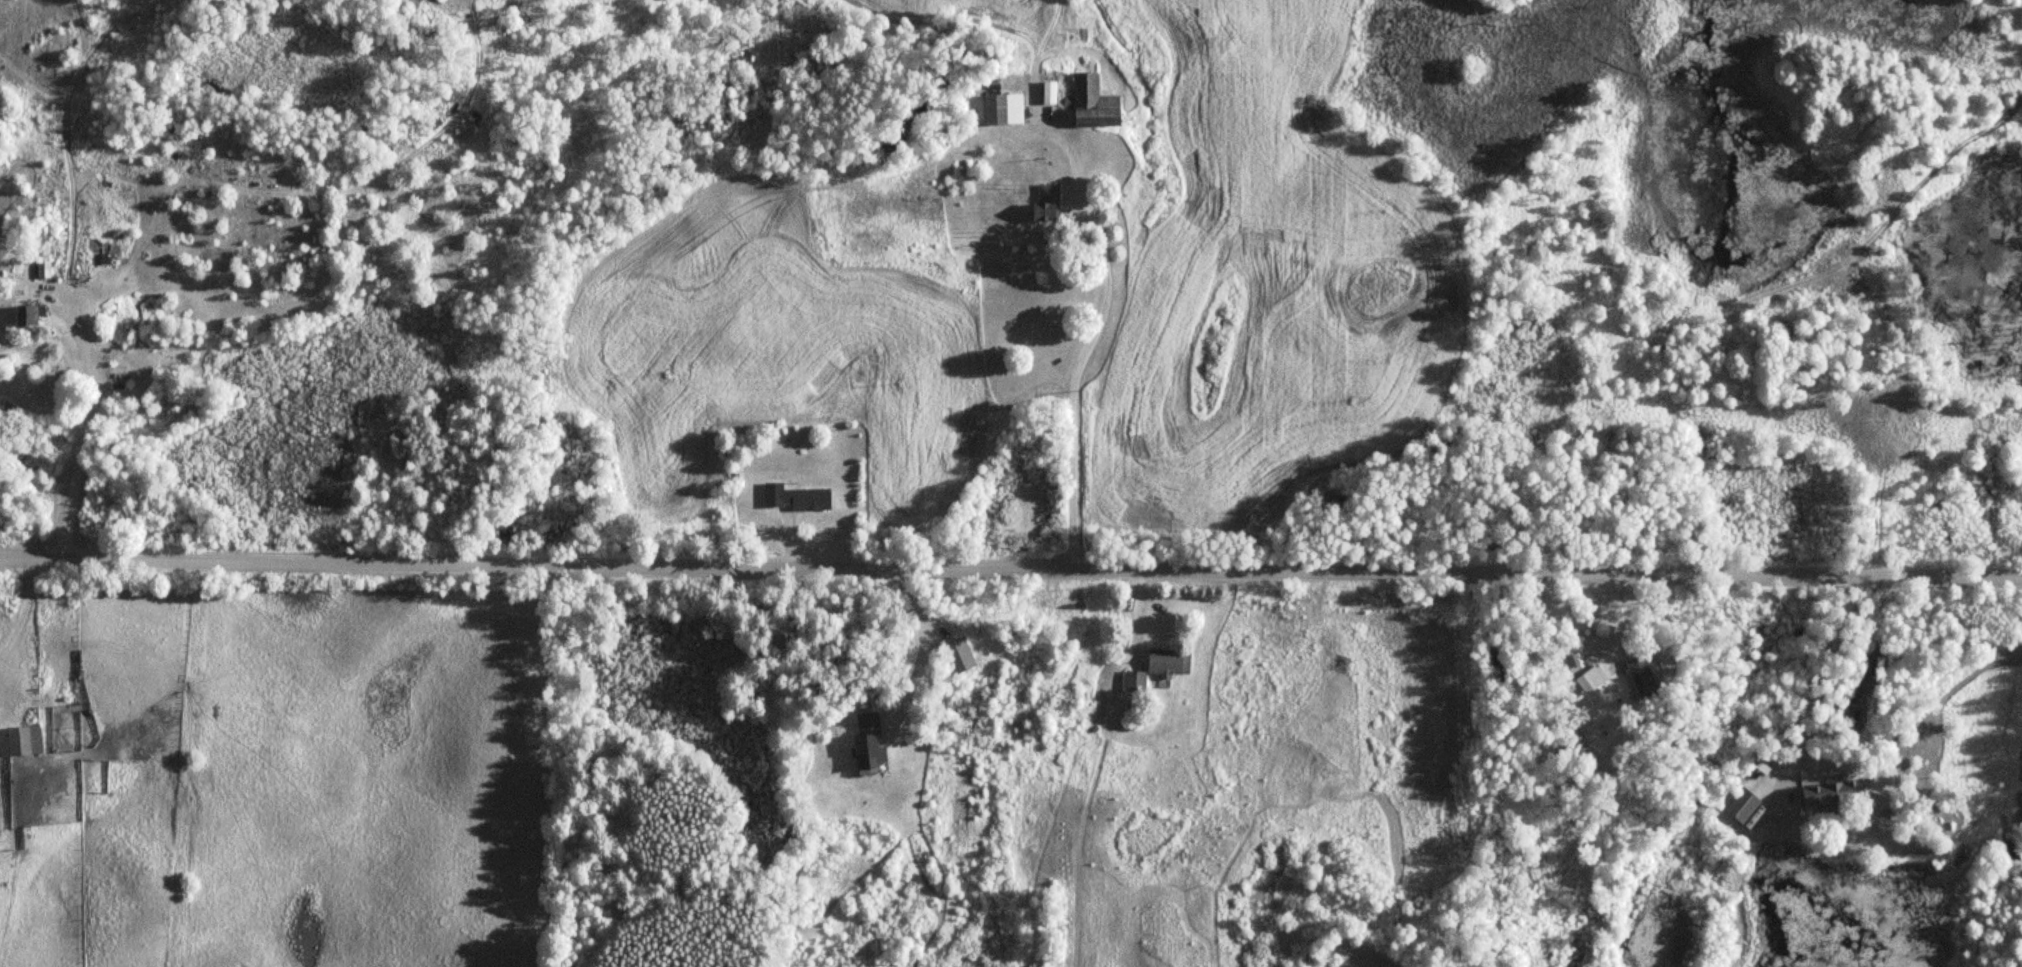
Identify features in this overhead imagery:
building: (1095, 102)
building: (1004, 108)
building: (1048, 203)
building: (44, 268)
building: (27, 315)
building: (797, 495)
road: (1011, 566)
building: (959, 654)
building: (1170, 660)
building: (1643, 675)
building: (1594, 676)
building: (1136, 679)
building: (20, 740)
building: (869, 740)
building: (1834, 791)
building: (1744, 803)

